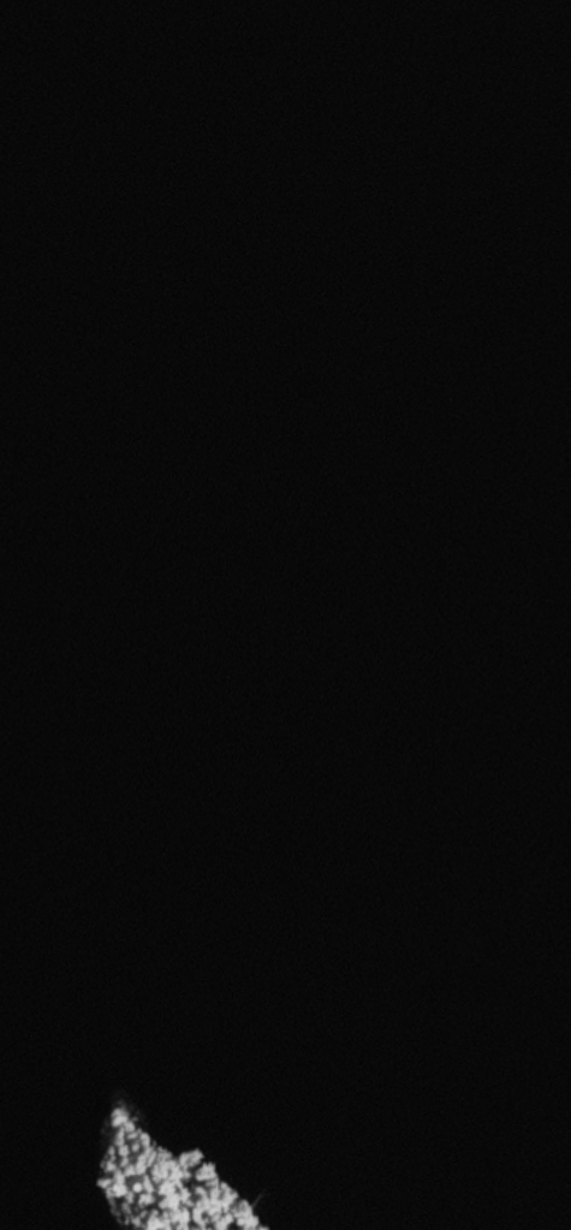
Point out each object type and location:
river: (276, 687)

